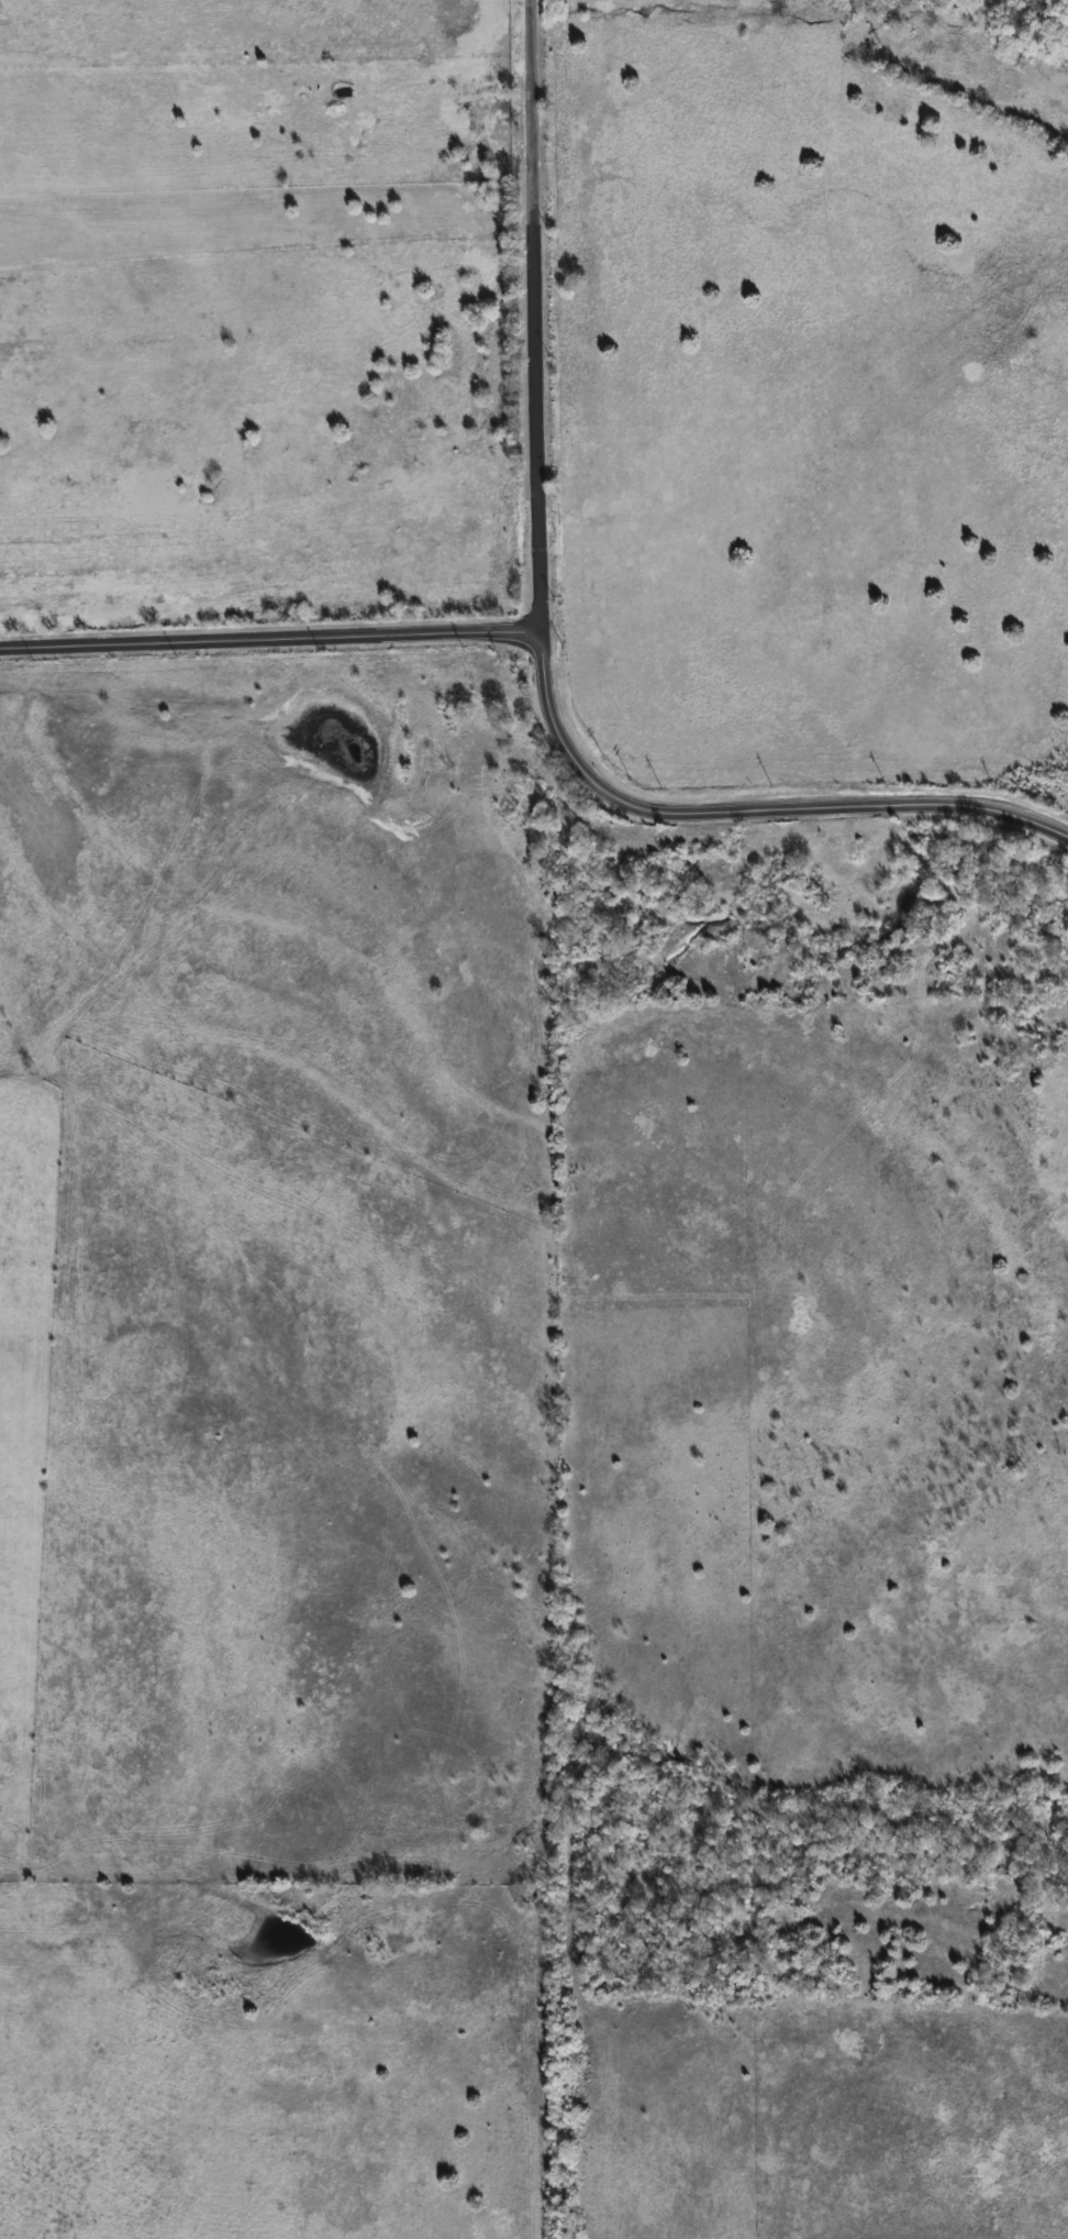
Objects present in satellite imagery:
road: (530, 107)
road: (534, 423)
road: (268, 644)
road: (743, 821)
road: (171, 889)
road: (341, 1253)
road: (169, 1698)

